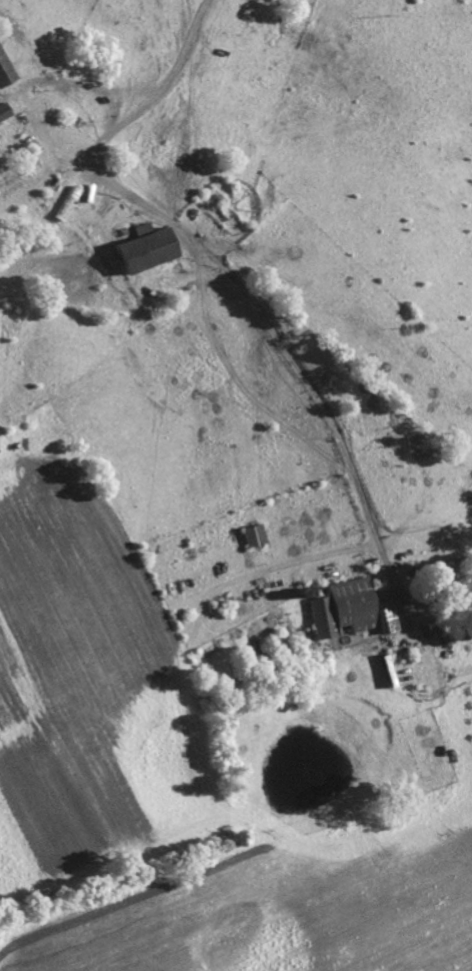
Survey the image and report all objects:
building: (3, 74)
building: (3, 112)
building: (141, 250)
road: (215, 261)
building: (442, 572)
building: (347, 611)

